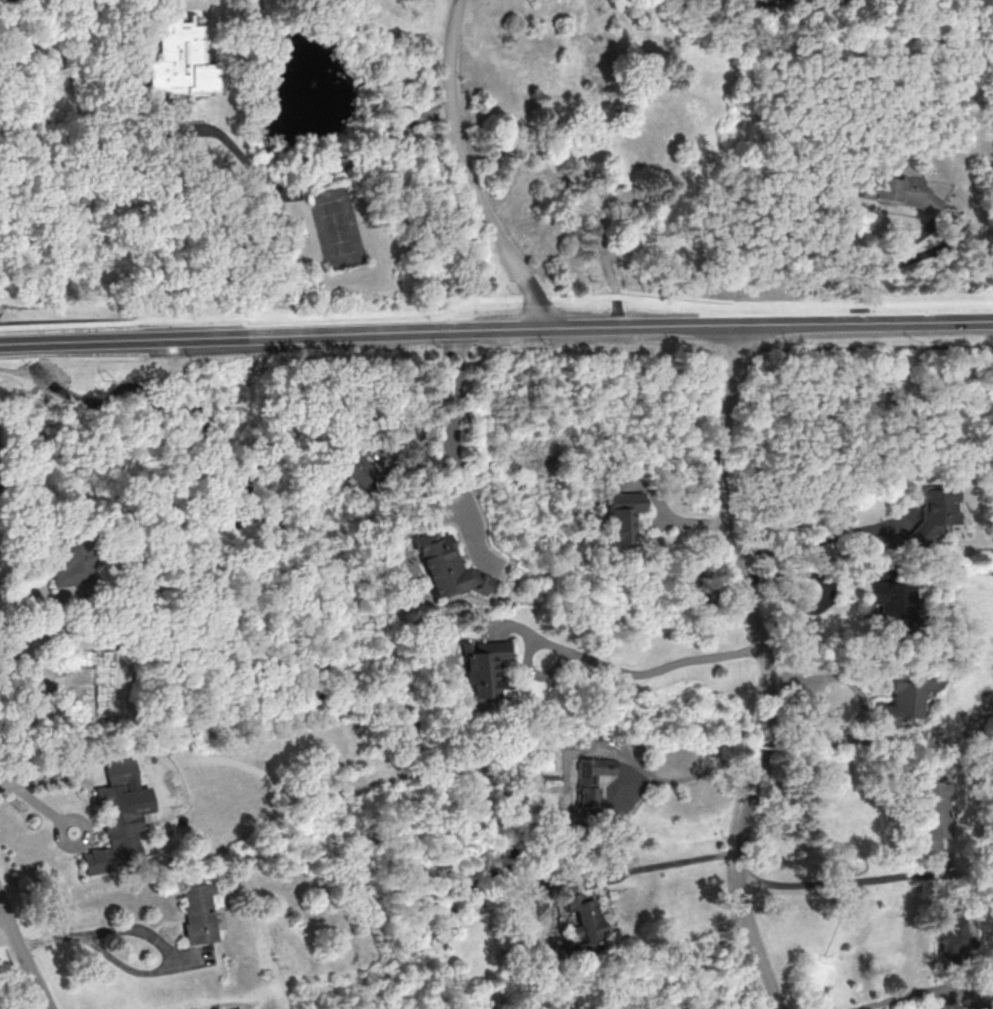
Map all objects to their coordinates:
building: (177, 58)
road: (467, 172)
road: (310, 180)
building: (898, 191)
road: (889, 263)
road: (611, 279)
road: (561, 296)
road: (66, 323)
road: (496, 328)
river: (15, 343)
road: (450, 432)
building: (352, 467)
building: (934, 514)
building: (621, 516)
road: (821, 540)
building: (66, 561)
building: (441, 565)
road: (850, 570)
road: (829, 590)
building: (890, 598)
road: (20, 601)
road: (44, 636)
building: (478, 665)
road: (607, 665)
road: (768, 668)
building: (108, 685)
building: (902, 698)
road: (861, 705)
road: (691, 774)
road: (42, 776)
building: (589, 781)
road: (32, 801)
building: (931, 811)
building: (118, 818)
road: (57, 832)
road: (668, 862)
road: (828, 882)
building: (578, 910)
building: (196, 912)
building: (948, 933)
road: (151, 934)
road: (10, 939)
road: (25, 954)
road: (717, 982)
road: (891, 999)
road: (568, 1003)

